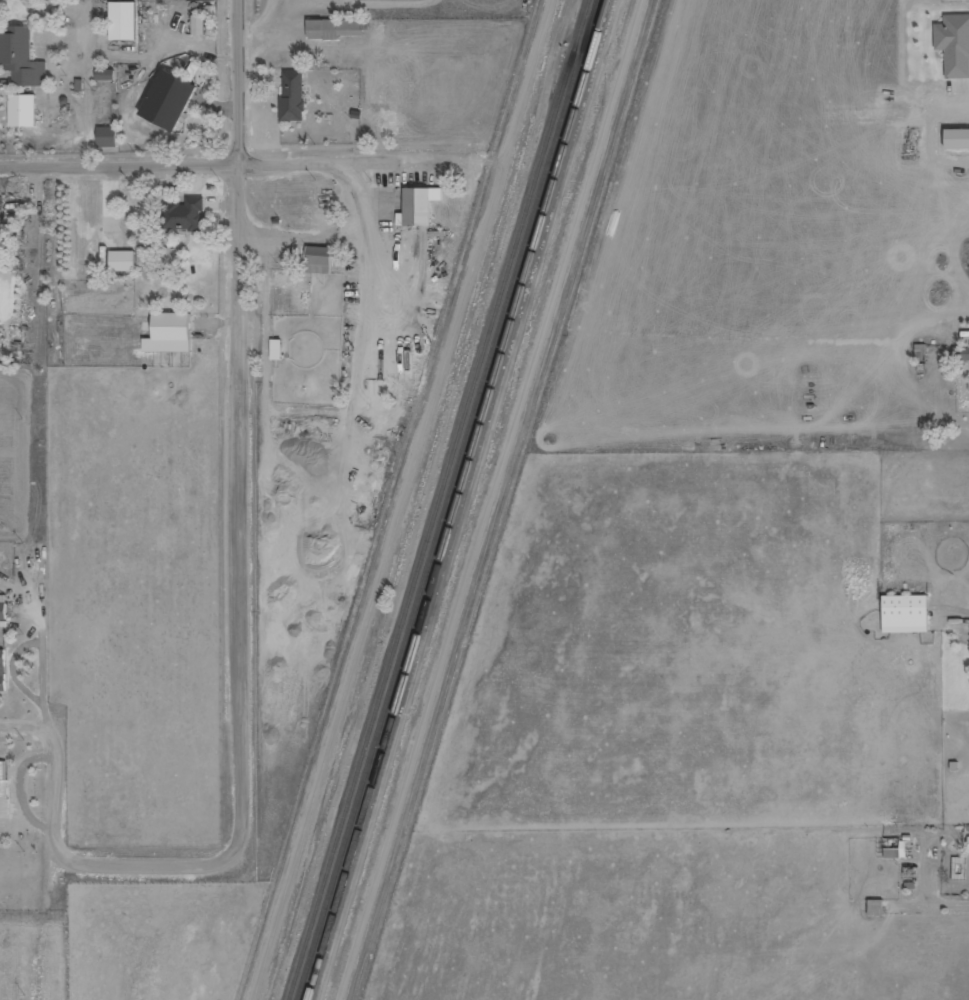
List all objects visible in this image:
building: (125, 21)
building: (199, 25)
building: (336, 29)
building: (954, 44)
building: (21, 57)
building: (105, 75)
building: (293, 97)
building: (171, 100)
building: (24, 111)
building: (108, 137)
building: (958, 139)
road: (228, 163)
building: (420, 207)
building: (1, 213)
building: (184, 214)
building: (145, 256)
building: (168, 259)
building: (320, 260)
building: (123, 261)
building: (171, 333)
building: (278, 349)
building: (961, 353)
road: (243, 425)
railway: (442, 499)
railway: (451, 499)
railway: (462, 499)
building: (4, 607)
building: (906, 614)
building: (3, 671)
building: (4, 790)
building: (968, 843)
building: (896, 852)
building: (876, 907)

